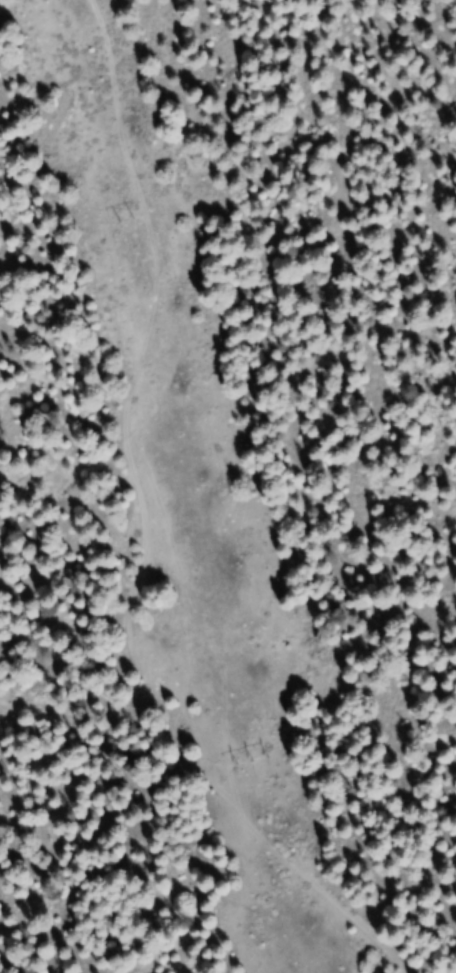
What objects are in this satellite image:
power tower: (122, 220)
power tower: (244, 760)

